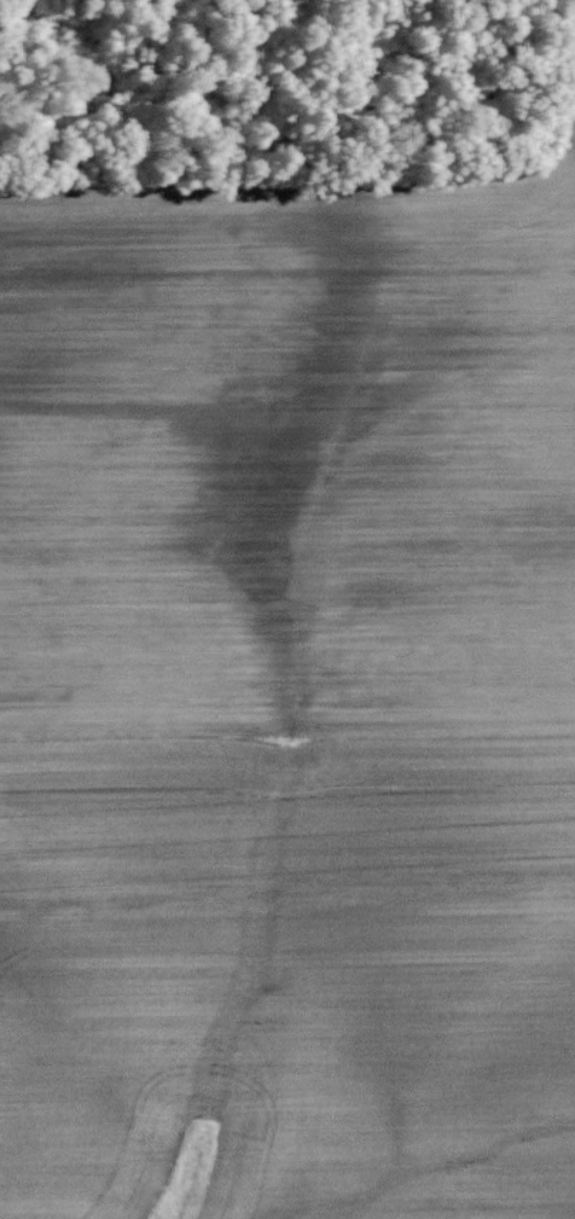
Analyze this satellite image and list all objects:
road: (287, 893)

